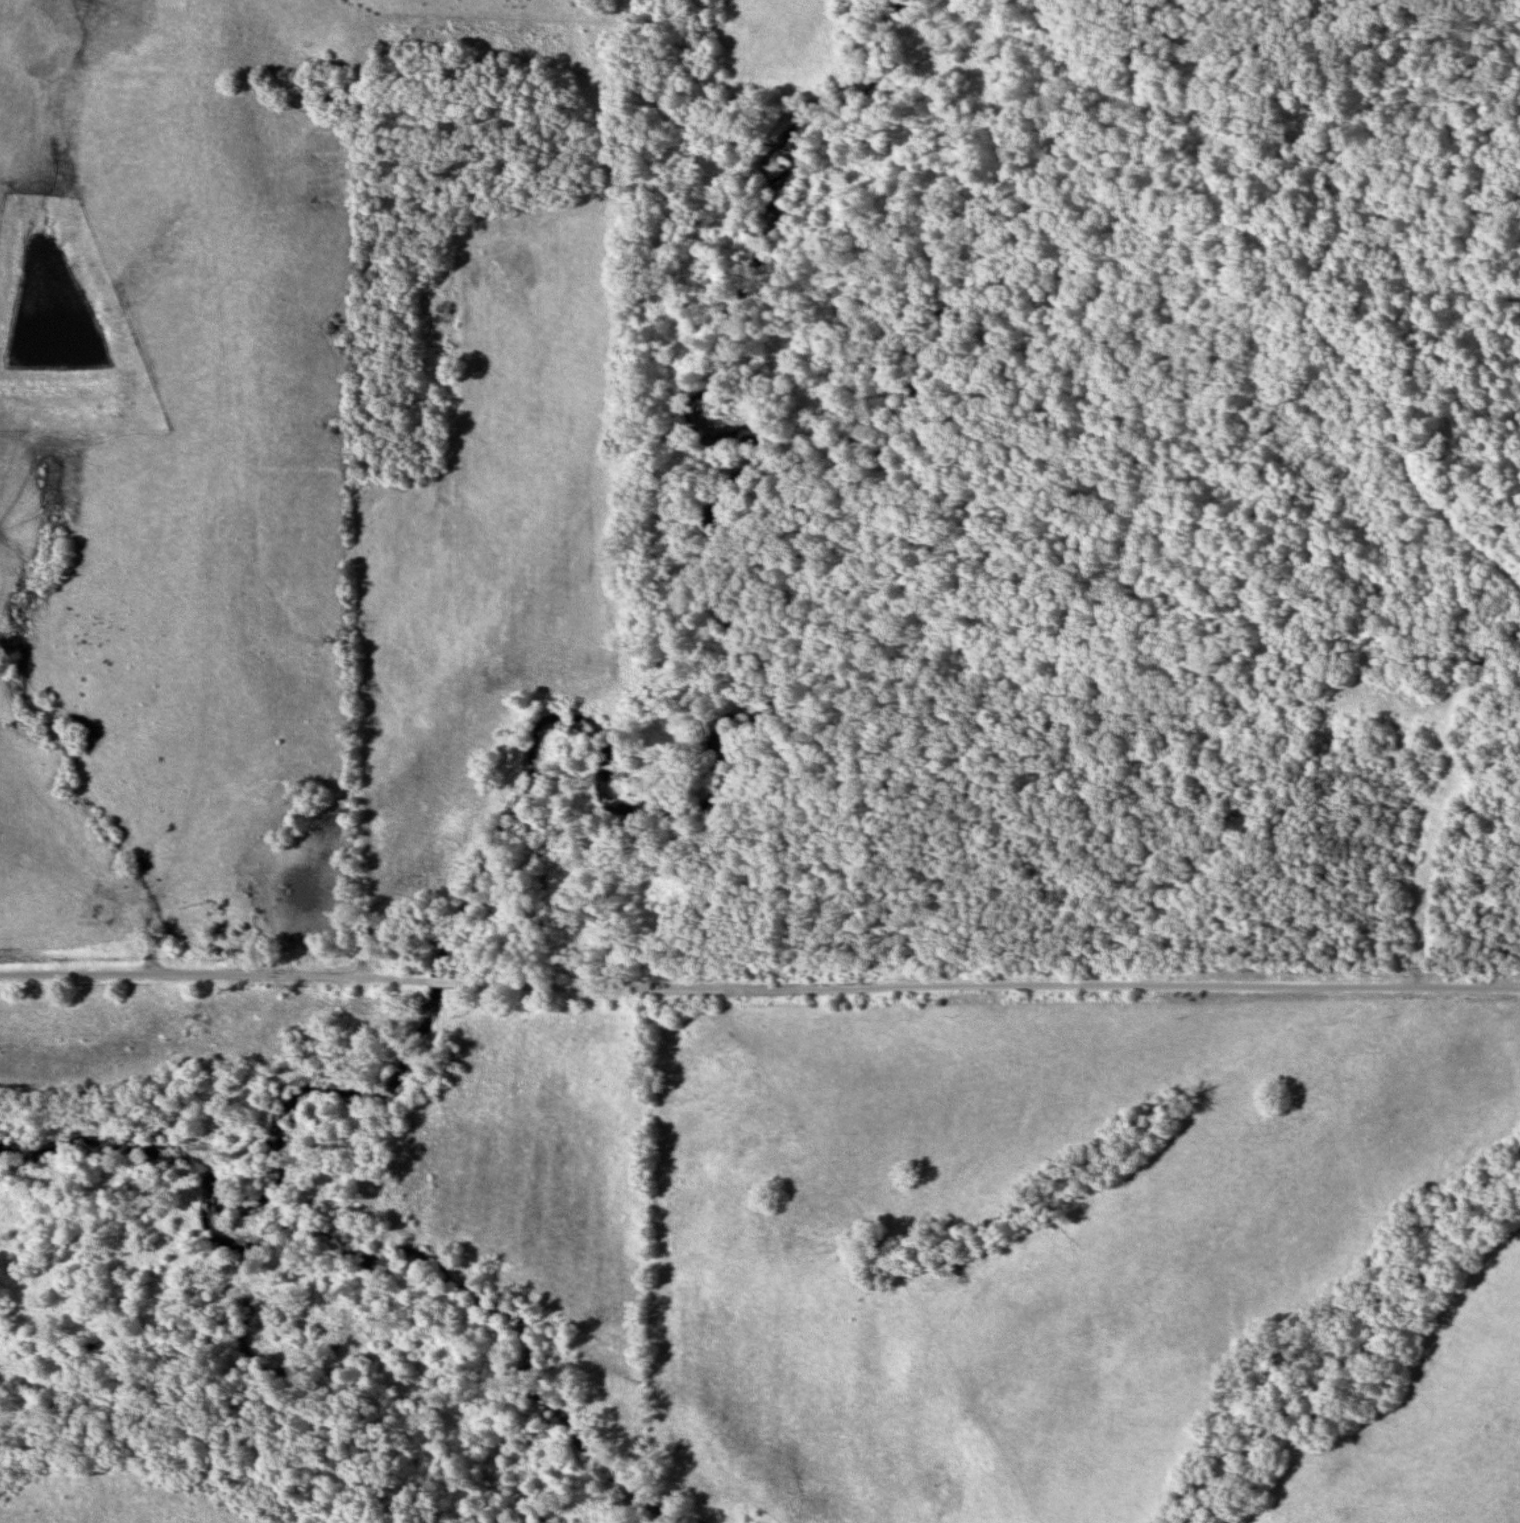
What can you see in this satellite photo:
road: (759, 986)

